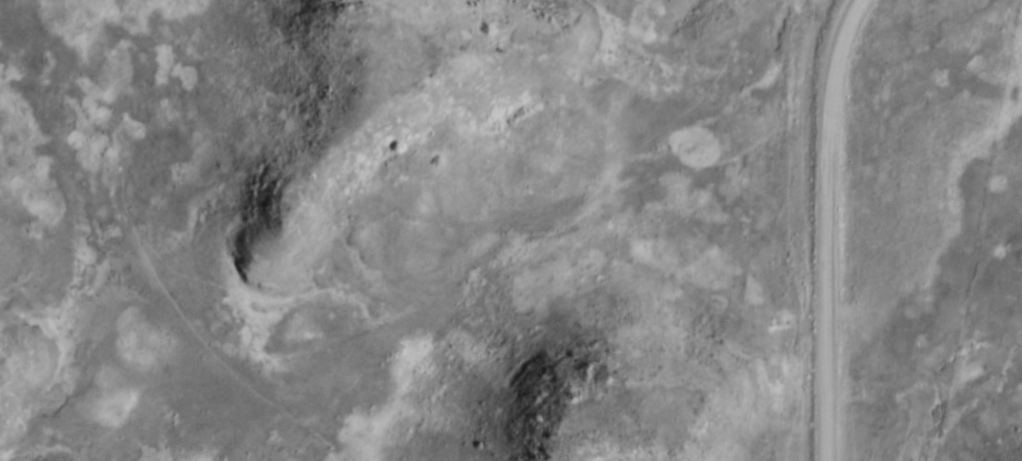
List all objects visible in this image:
road: (827, 228)

